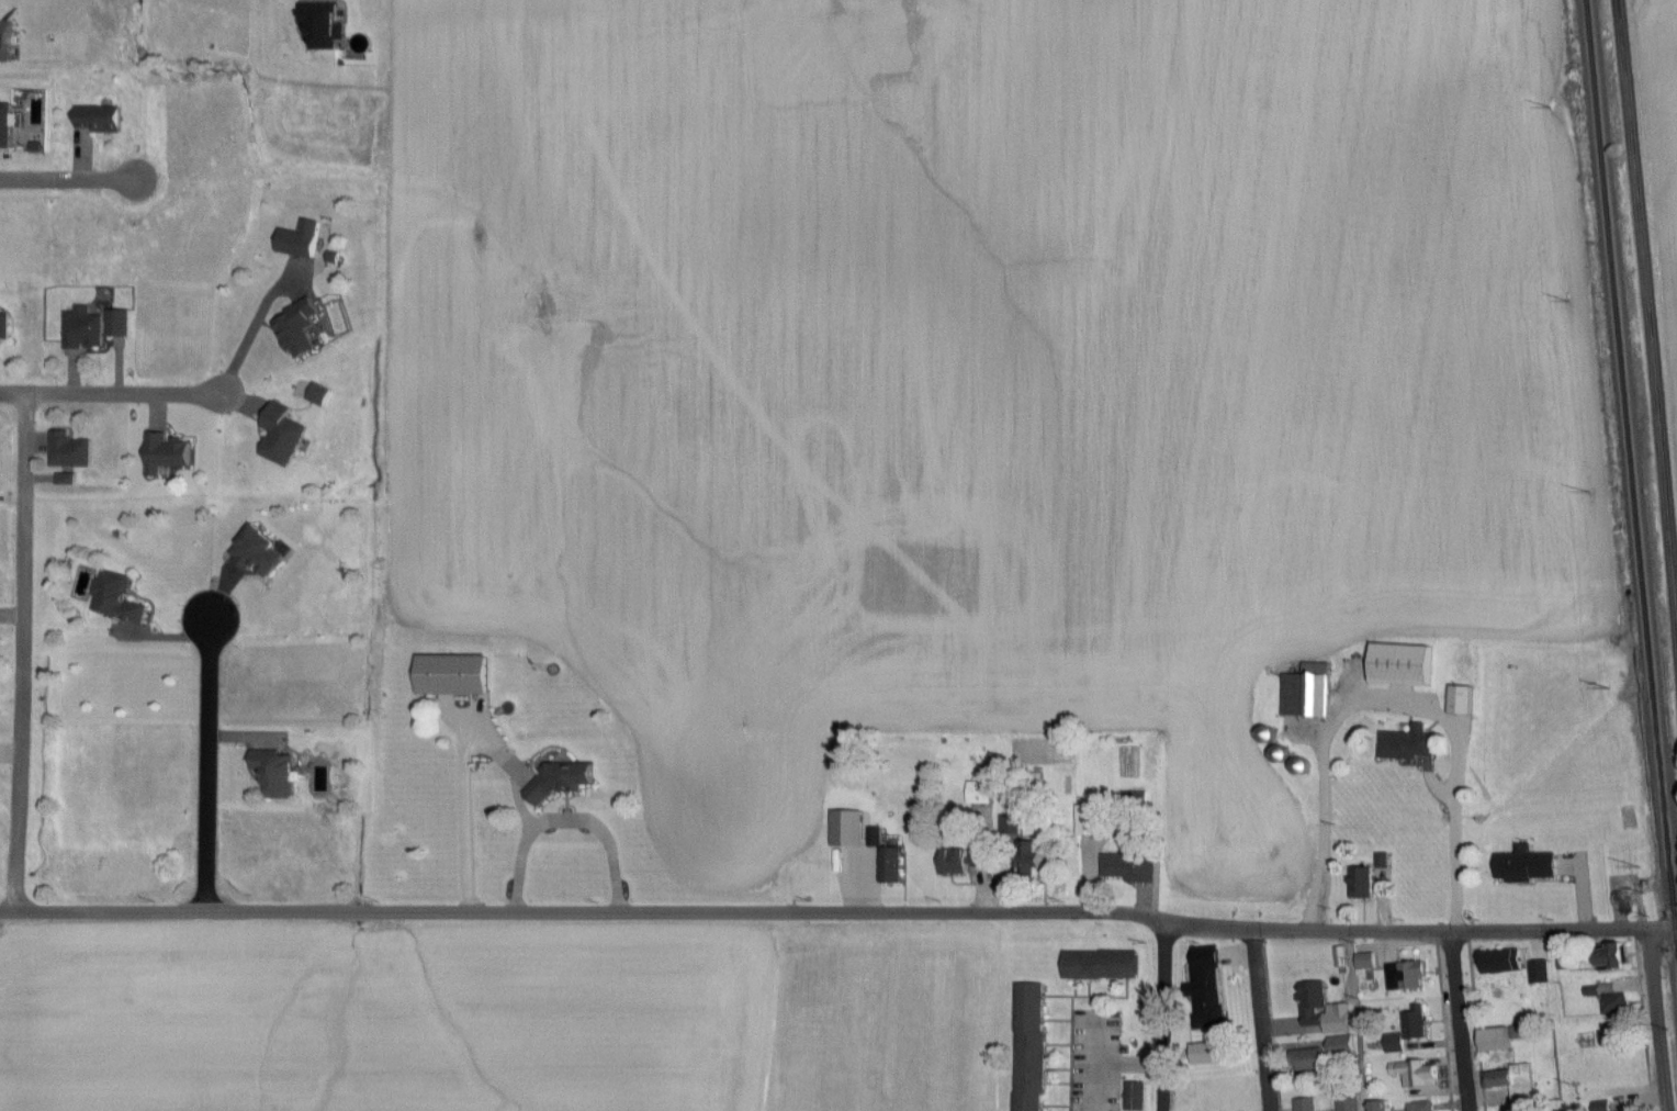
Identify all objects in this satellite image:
building: (103, 120)
building: (10, 126)
road: (68, 181)
building: (307, 239)
road: (1651, 294)
building: (119, 323)
building: (302, 329)
building: (88, 330)
road: (191, 392)
building: (285, 436)
building: (72, 452)
building: (171, 453)
railway: (1630, 498)
building: (299, 526)
building: (269, 551)
building: (80, 585)
building: (122, 599)
road: (26, 651)
building: (1397, 666)
building: (460, 675)
building: (1303, 693)
building: (1456, 702)
road: (1393, 704)
building: (1410, 743)
road: (209, 764)
road: (463, 766)
building: (279, 777)
building: (983, 793)
road: (569, 821)
building: (1090, 833)
building: (965, 861)
building: (1039, 864)
building: (893, 865)
building: (1132, 867)
building: (1529, 868)
building: (1372, 879)
road: (835, 911)
road: (1674, 932)
building: (1603, 958)
building: (1493, 965)
building: (1103, 966)
building: (1538, 974)
building: (1316, 1005)
building: (1613, 1006)
road: (1167, 1017)
road: (1269, 1021)
road: (1460, 1021)
road: (1661, 1021)
building: (1415, 1026)
building: (1489, 1041)
building: (1344, 1045)
building: (1032, 1047)
building: (1316, 1062)
road: (1112, 1066)
building: (1418, 1077)
road: (1099, 1079)
building: (1509, 1087)
building: (1189, 1089)
building: (1138, 1097)
building: (1347, 1102)
building: (1308, 1104)
building: (1423, 1107)
building: (1381, 1108)
road: (1361, 1110)

